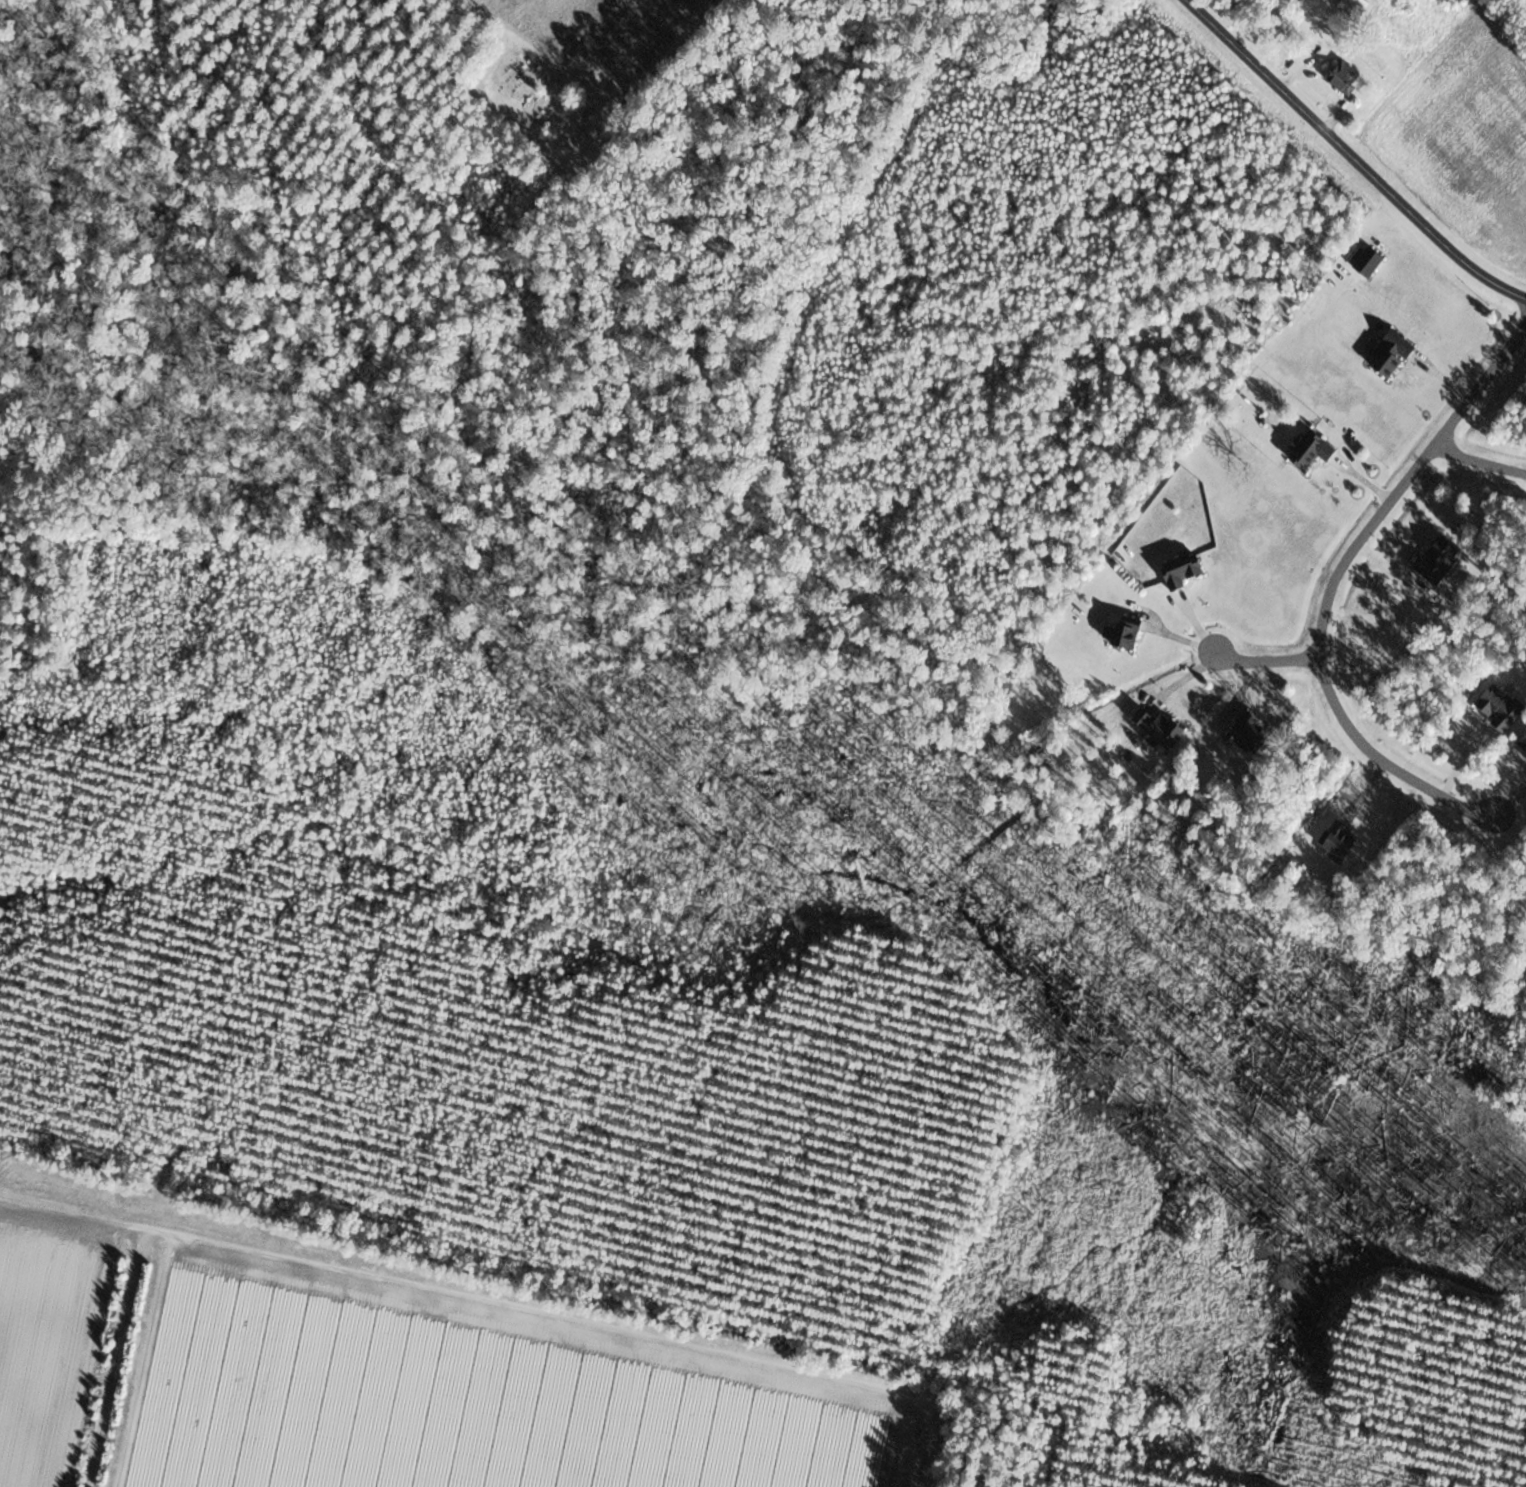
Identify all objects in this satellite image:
building: (1346, 77)
road: (1355, 153)
building: (1311, 446)
road: (1479, 464)
building: (1440, 558)
building: (1182, 568)
road: (1327, 590)
road: (1269, 660)
building: (1249, 732)
building: (1523, 743)
building: (1340, 839)

